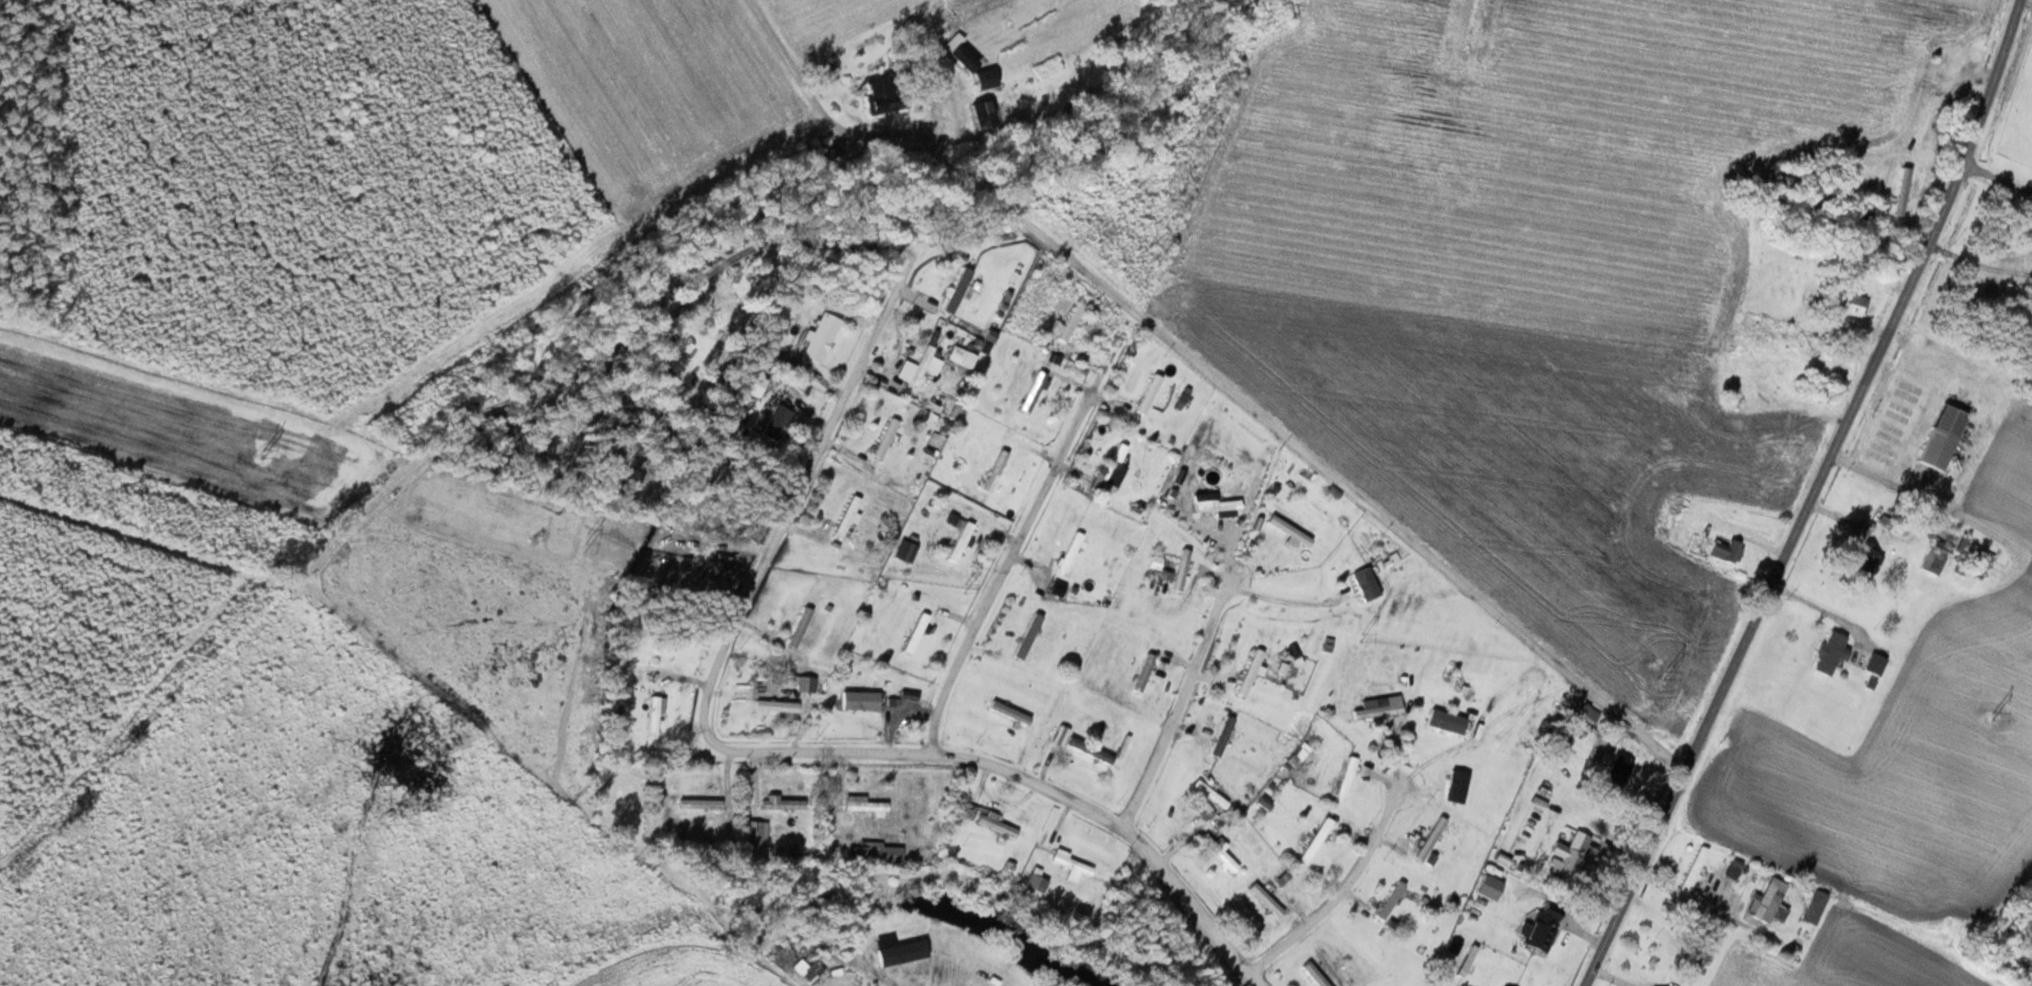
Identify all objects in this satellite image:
building: (983, 13)
building: (959, 54)
building: (984, 79)
building: (980, 115)
building: (1787, 178)
road: (2000, 180)
building: (956, 294)
building: (1852, 305)
building: (1070, 322)
building: (820, 338)
building: (962, 355)
building: (922, 365)
building: (1812, 388)
building: (1033, 392)
building: (1148, 395)
road: (1243, 405)
building: (775, 424)
building: (1941, 438)
building: (885, 439)
road: (828, 448)
power tower: (256, 453)
building: (994, 471)
building: (1108, 473)
road: (1816, 495)
building: (1216, 506)
building: (847, 517)
building: (1289, 531)
road: (1026, 537)
building: (960, 543)
power tower: (595, 545)
building: (1725, 550)
building: (1070, 553)
building: (1935, 559)
building: (1976, 559)
building: (1864, 560)
building: (1180, 570)
building: (1167, 572)
building: (1365, 584)
power tower: (963, 589)
building: (799, 628)
building: (915, 634)
building: (1024, 638)
power tower: (1361, 638)
building: (1830, 654)
building: (1875, 665)
building: (1143, 673)
building: (1250, 673)
power tower: (1668, 677)
building: (805, 684)
building: (859, 701)
building: (775, 706)
road: (1177, 708)
building: (1376, 712)
building: (654, 716)
power tower: (1993, 718)
building: (1445, 722)
building: (1222, 737)
building: (1099, 750)
road: (992, 769)
building: (1617, 775)
building: (1346, 778)
building: (1456, 787)
building: (700, 804)
building: (782, 804)
building: (862, 805)
building: (983, 818)
building: (753, 836)
building: (1430, 839)
building: (1316, 840)
building: (1218, 853)
building: (877, 854)
building: (1569, 855)
building: (1071, 863)
building: (1693, 869)
building: (1285, 881)
building: (1035, 883)
building: (1489, 888)
road: (1340, 892)
building: (1264, 900)
building: (1390, 901)
building: (1767, 901)
building: (1541, 927)
building: (1690, 969)
building: (1384, 971)
building: (1313, 975)
road: (898, 976)
building: (1399, 979)
building: (985, 984)

